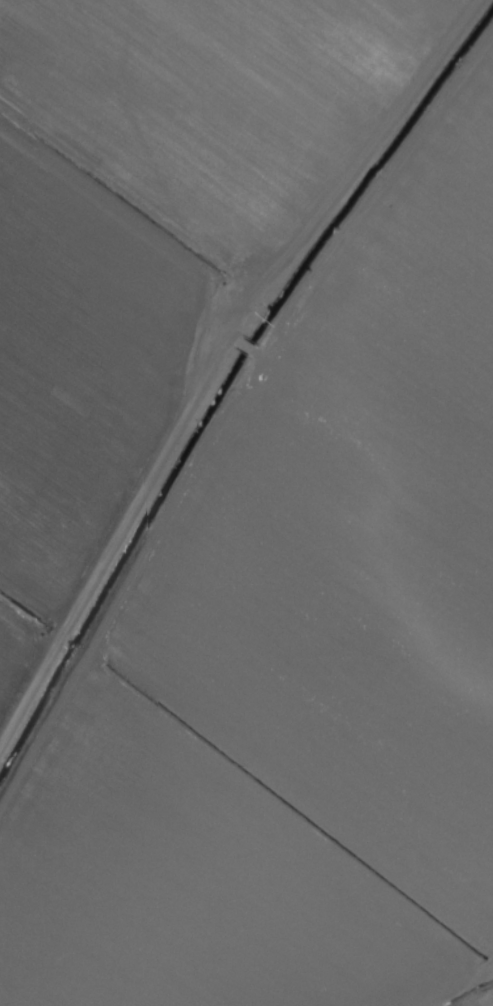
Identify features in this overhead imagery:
road: (128, 192)
road: (244, 353)
road: (214, 356)
road: (268, 360)
crop: (246, 503)
road: (281, 846)

